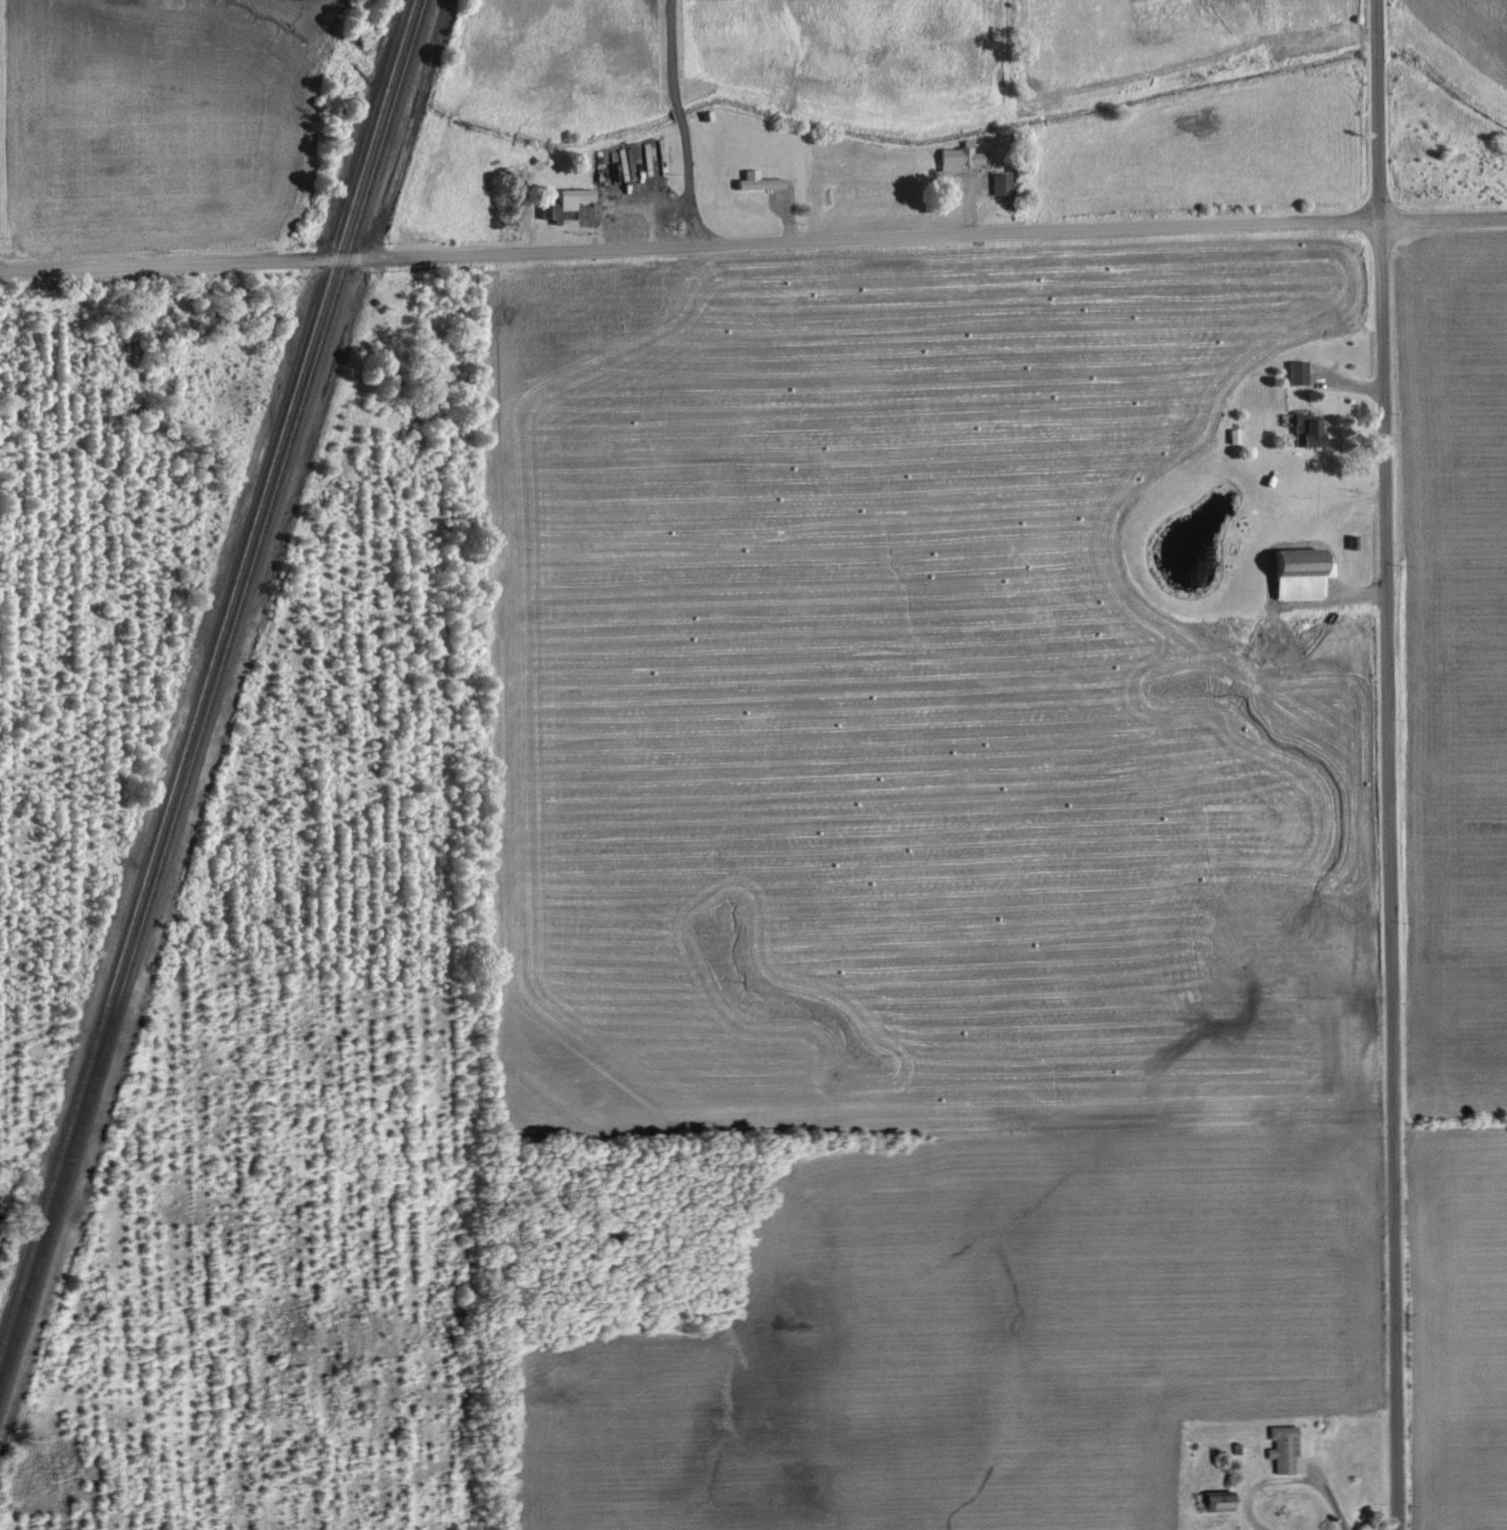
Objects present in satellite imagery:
road: (678, 122)
building: (959, 157)
building: (759, 180)
building: (1003, 183)
building: (566, 203)
road: (1442, 216)
road: (688, 243)
building: (1300, 371)
building: (1309, 430)
building: (1236, 435)
building: (1303, 572)
railway: (209, 684)
road: (1385, 764)
building: (1284, 1447)
building: (1220, 1500)

